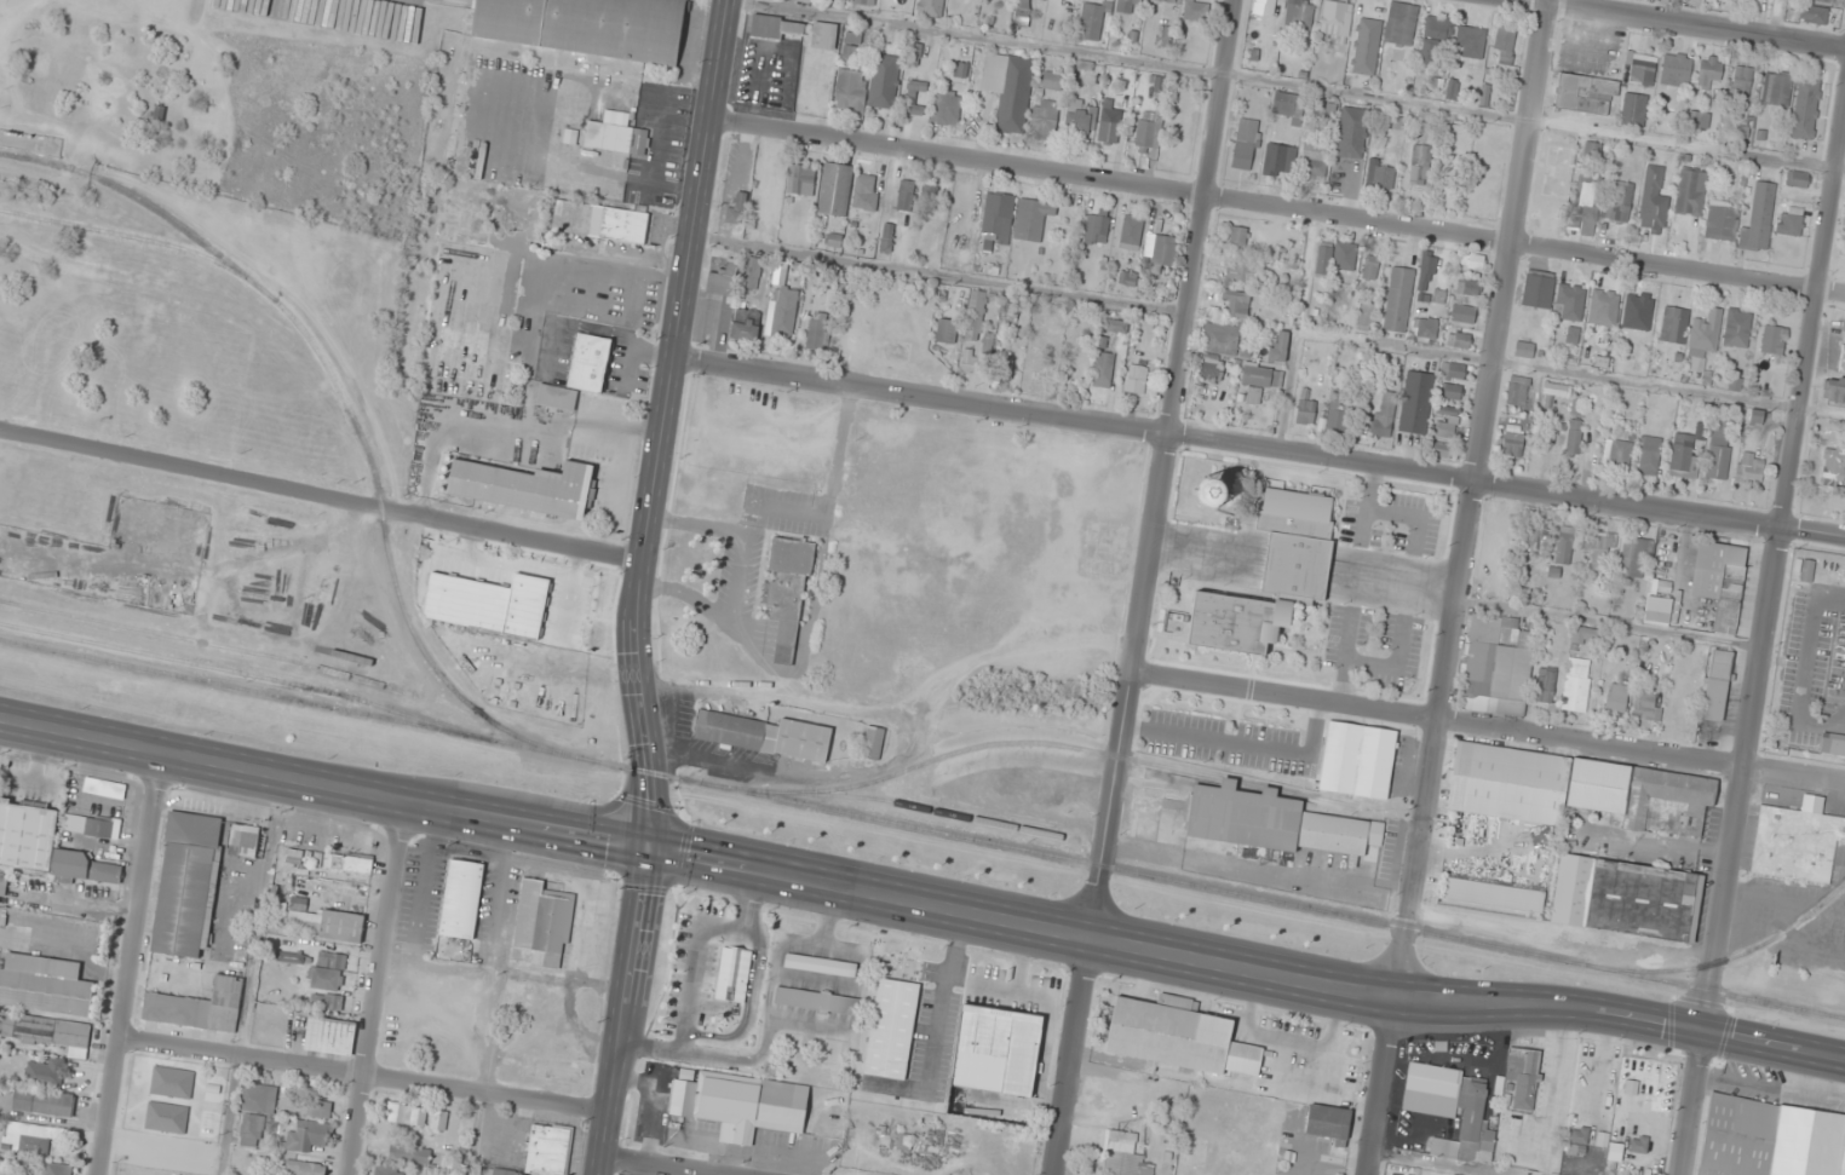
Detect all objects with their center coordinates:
building: (1166, 0)
building: (1824, 1)
building: (1128, 6)
building: (929, 7)
building: (1268, 7)
building: (1023, 12)
building: (1299, 13)
building: (1814, 13)
road: (1775, 18)
building: (1335, 19)
building: (1092, 21)
building: (1401, 23)
road: (1684, 24)
building: (587, 25)
building: (777, 28)
building: (1438, 30)
building: (823, 36)
building: (1169, 39)
building: (1470, 39)
building: (1366, 45)
building: (1504, 45)
building: (850, 46)
building: (1640, 69)
building: (1676, 70)
building: (1709, 70)
building: (884, 81)
building: (1052, 81)
building: (1742, 81)
building: (1008, 88)
building: (1776, 88)
building: (851, 92)
building: (1586, 94)
building: (914, 97)
building: (946, 106)
building: (1288, 106)
building: (1805, 108)
building: (1633, 110)
building: (1044, 119)
building: (1080, 120)
building: (1700, 120)
building: (1146, 129)
building: (1108, 132)
building: (1351, 132)
building: (615, 133)
building: (1247, 144)
building: (1594, 150)
building: (1278, 157)
building: (1314, 161)
building: (1420, 165)
building: (1380, 174)
building: (800, 179)
building: (1799, 179)
building: (837, 188)
building: (866, 192)
building: (1691, 192)
building: (904, 195)
railway: (138, 200)
building: (1653, 201)
building: (1620, 202)
building: (1587, 205)
building: (737, 207)
road: (1278, 207)
building: (1759, 215)
building: (961, 218)
building: (996, 219)
building: (1031, 219)
building: (1791, 220)
building: (600, 221)
building: (1720, 223)
building: (1096, 229)
building: (1131, 231)
building: (929, 234)
building: (1237, 236)
building: (1160, 249)
building: (1335, 258)
building: (1472, 260)
building: (1370, 267)
building: (1243, 270)
building: (751, 272)
building: (1426, 277)
building: (1126, 278)
building: (722, 281)
building: (1467, 287)
building: (1537, 289)
building: (1398, 300)
building: (1237, 303)
building: (1569, 303)
building: (1603, 309)
building: (1637, 312)
building: (783, 313)
building: (1464, 313)
building: (1366, 315)
building: (975, 316)
building: (1674, 324)
building: (745, 326)
building: (1115, 326)
building: (1425, 328)
building: (1737, 328)
building: (817, 330)
building: (946, 332)
building: (1220, 339)
building: (1458, 340)
building: (1703, 340)
building: (1772, 340)
building: (1278, 346)
building: (1523, 350)
building: (1843, 359)
building: (969, 361)
building: (1034, 363)
building: (1005, 367)
building: (1103, 369)
building: (1211, 369)
building: (1455, 371)
building: (579, 373)
building: (1137, 379)
building: (1259, 381)
building: (1834, 387)
building: (1517, 390)
building: (1556, 390)
building: (1453, 392)
building: (1415, 403)
building: (1448, 409)
building: (1305, 411)
building: (1385, 414)
building: (1337, 419)
road: (665, 421)
building: (1445, 430)
railway: (361, 436)
building: (1574, 437)
building: (1513, 440)
road: (1260, 448)
building: (1442, 450)
building: (1616, 454)
building: (1649, 455)
building: (1684, 455)
building: (1718, 463)
building: (1833, 465)
road: (1161, 468)
building: (1749, 468)
building: (524, 486)
water tower: (1209, 491)
water tower: (1212, 494)
road: (320, 499)
road: (1472, 499)
road: (1366, 505)
road: (1409, 511)
building: (1535, 543)
building: (1567, 546)
building: (1602, 549)
building: (1633, 557)
road: (1776, 566)
building: (1806, 571)
building: (1269, 576)
road: (1392, 581)
building: (1718, 582)
parking lot: (1380, 584)
building: (786, 594)
building: (1657, 610)
railway: (115, 626)
building: (1586, 634)
road: (1344, 657)
parking lot: (1809, 661)
building: (1496, 666)
road: (1395, 668)
railway: (243, 673)
building: (1576, 684)
building: (1717, 685)
building: (1545, 686)
building: (1616, 697)
building: (1645, 704)
road: (1488, 727)
building: (763, 735)
building: (873, 743)
railway: (1025, 743)
building: (1832, 745)
building: (1357, 760)
road: (322, 785)
building: (1575, 789)
building: (1274, 822)
building: (87, 825)
railway: (922, 830)
building: (27, 835)
building: (245, 840)
building: (1798, 843)
traffic signals: (645, 846)
building: (293, 856)
building: (347, 863)
building: (87, 868)
building: (186, 883)
building: (2, 885)
building: (1625, 897)
building: (461, 899)
road: (1006, 921)
building: (327, 925)
building: (542, 926)
railway: (1732, 962)
building: (820, 963)
road: (132, 966)
building: (530, 967)
building: (328, 970)
building: (734, 974)
building: (44, 985)
road: (377, 987)
building: (818, 1001)
building: (326, 1002)
building: (197, 1007)
road: (621, 1009)
road: (1608, 1013)
building: (44, 1029)
building: (891, 1029)
traffic signals: (1703, 1032)
building: (329, 1036)
building: (1177, 1036)
building: (996, 1049)
road: (1073, 1056)
building: (546, 1066)
building: (46, 1073)
road: (363, 1075)
building: (1521, 1078)
road: (1383, 1085)
building: (259, 1098)
building: (44, 1102)
building: (741, 1102)
road: (1691, 1104)
building: (318, 1110)
building: (1471, 1112)
building: (406, 1113)
building: (439, 1119)
building: (1328, 1122)
building: (251, 1130)
building: (307, 1135)
building: (31, 1137)
building: (1579, 1137)
building: (1770, 1139)
building: (547, 1148)
building: (145, 1151)
building: (409, 1154)
building: (1123, 1154)
building: (452, 1160)
road: (660, 1165)
building: (304, 1168)
building: (56, 1169)
building: (387, 1169)
building: (504, 1171)

